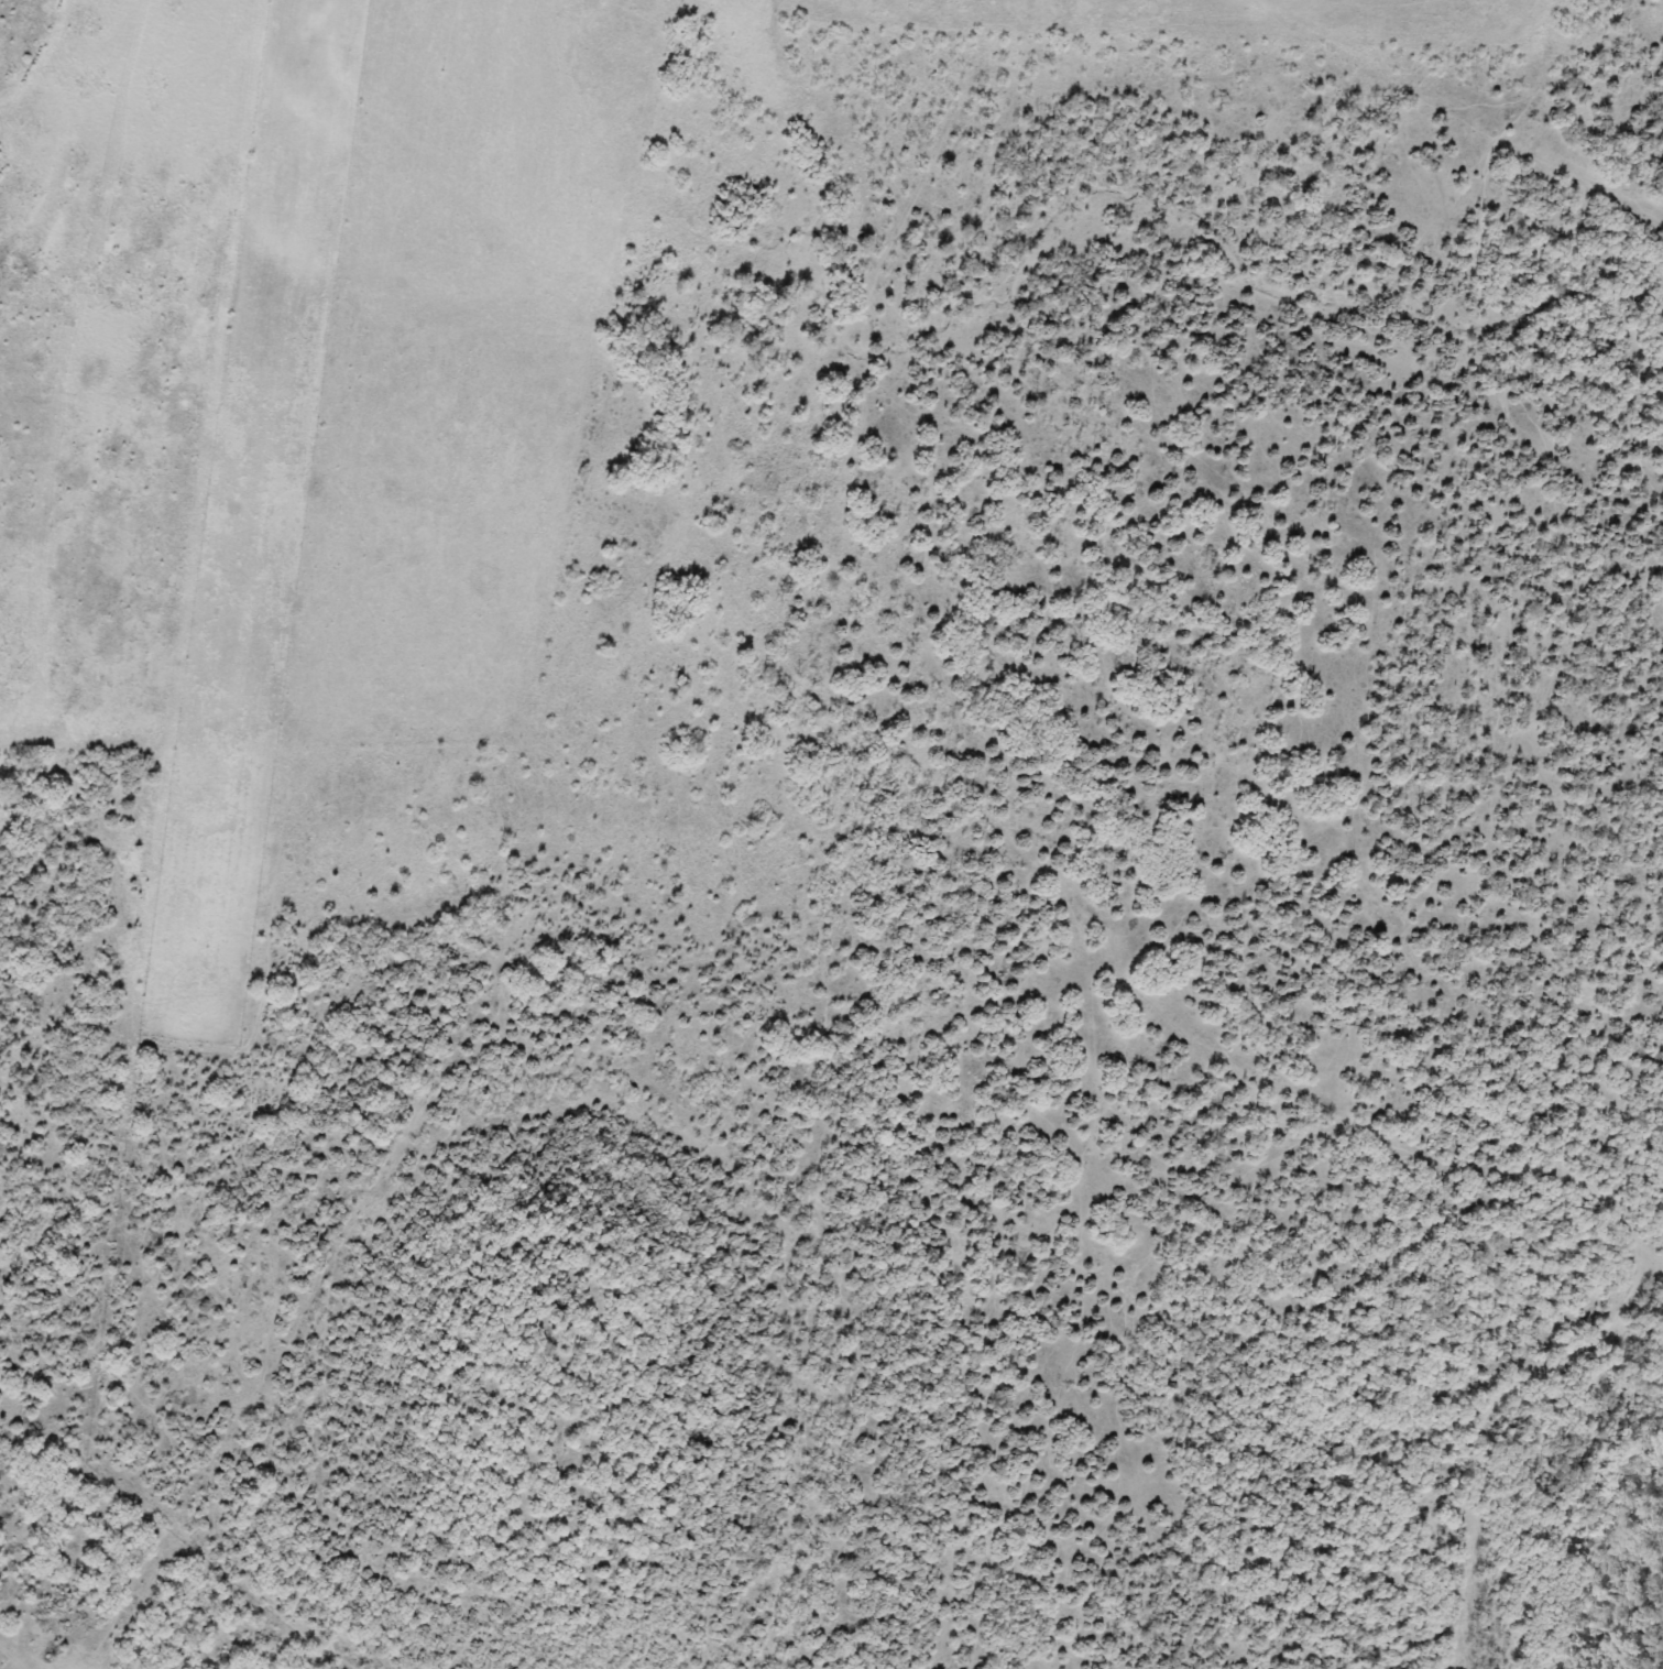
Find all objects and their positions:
airport: (330, 389)
airport runway: (264, 520)

